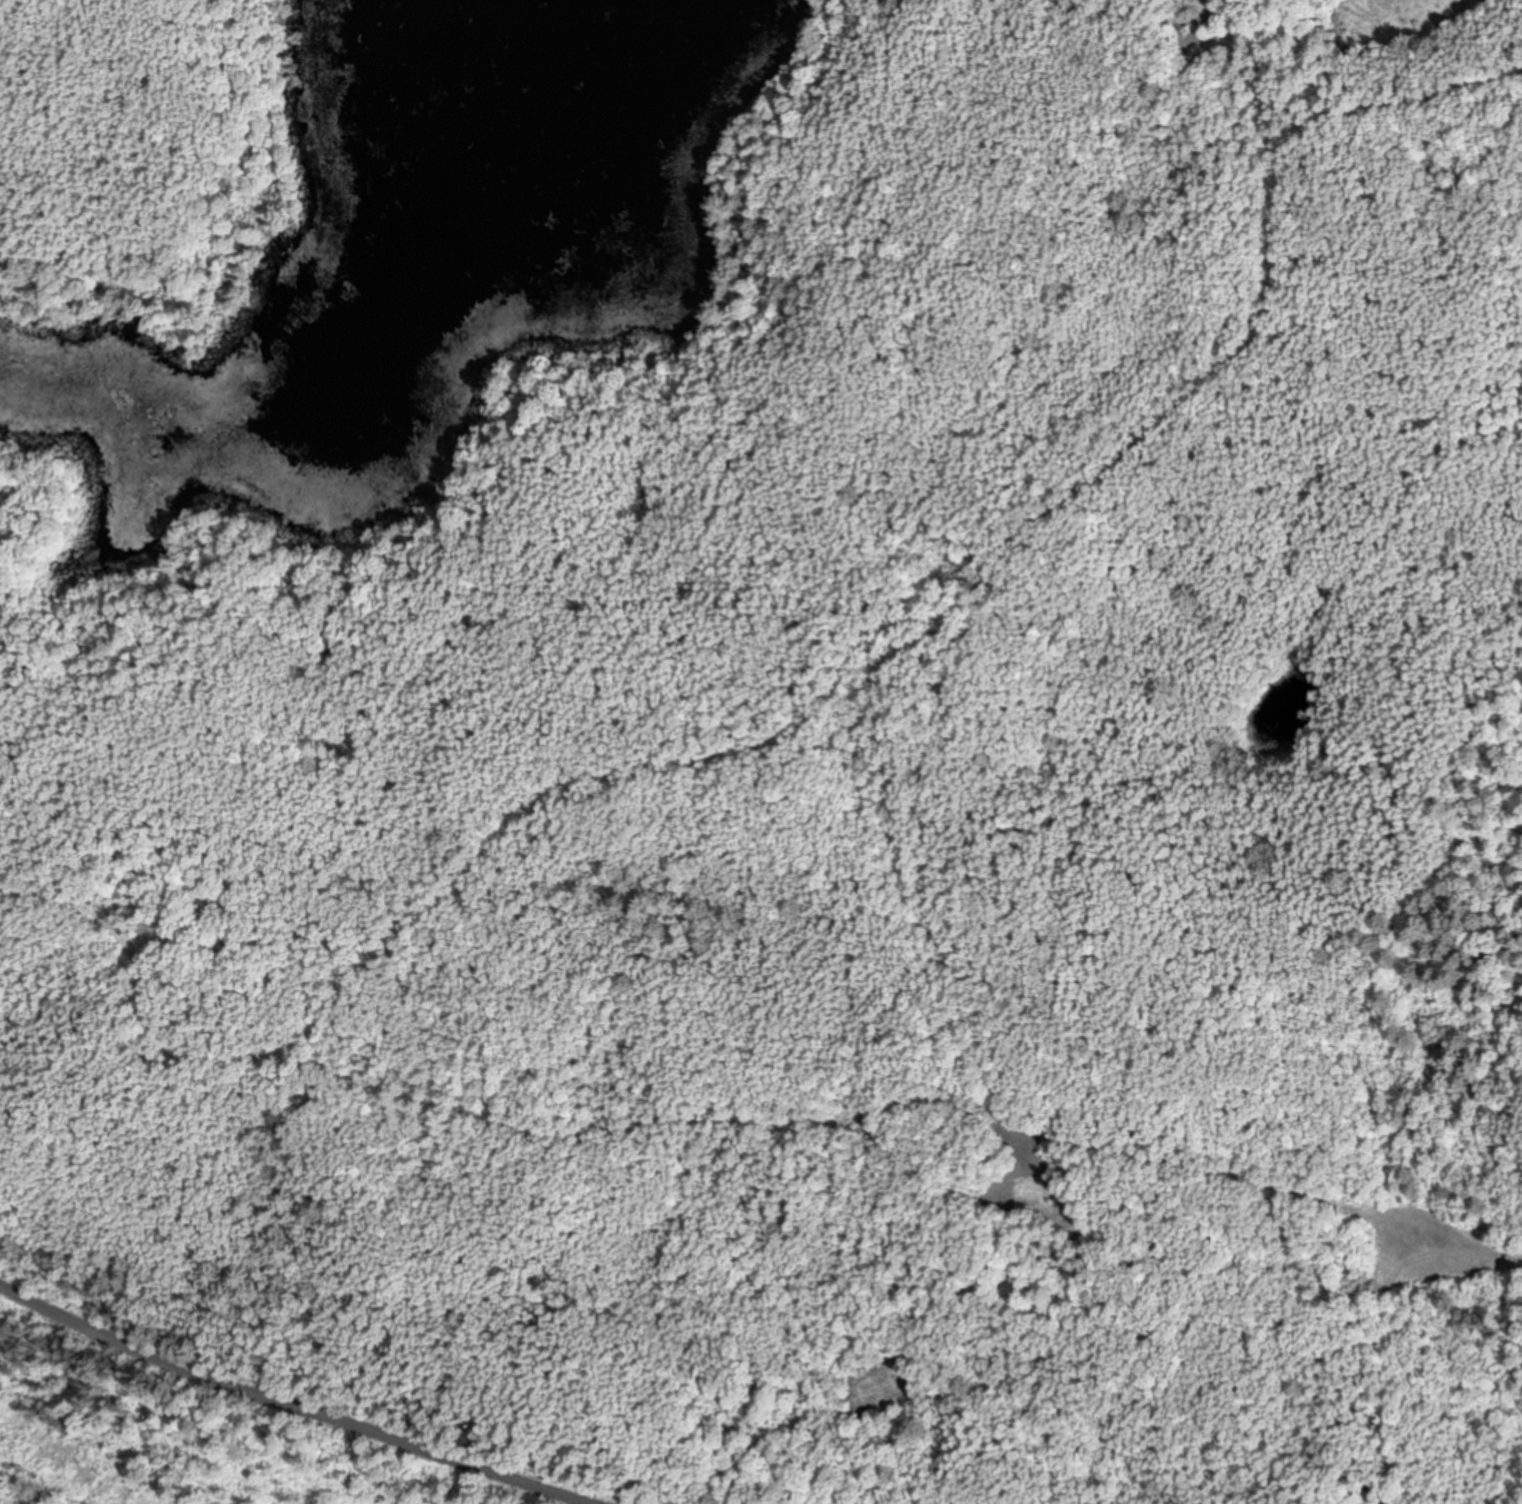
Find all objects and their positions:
road: (285, 1405)

